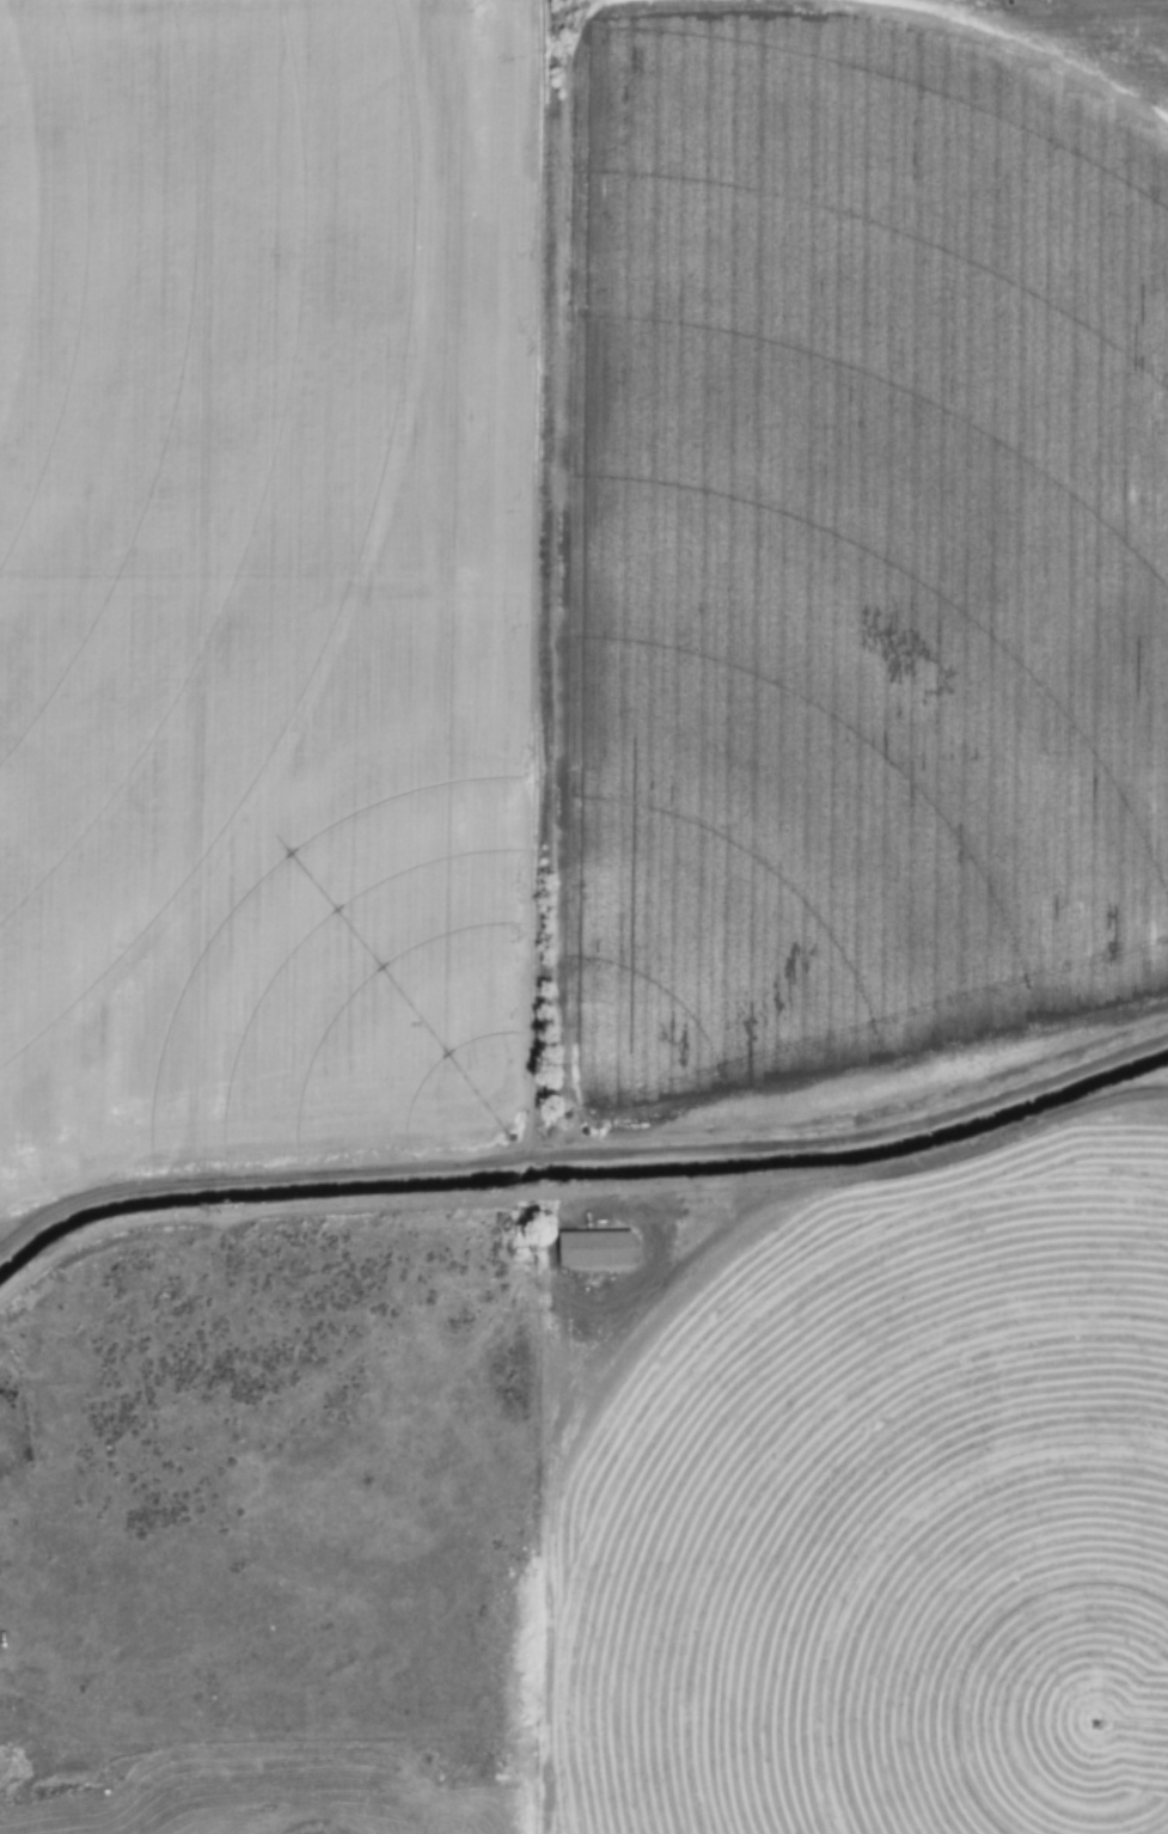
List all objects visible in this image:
building: (594, 1249)

